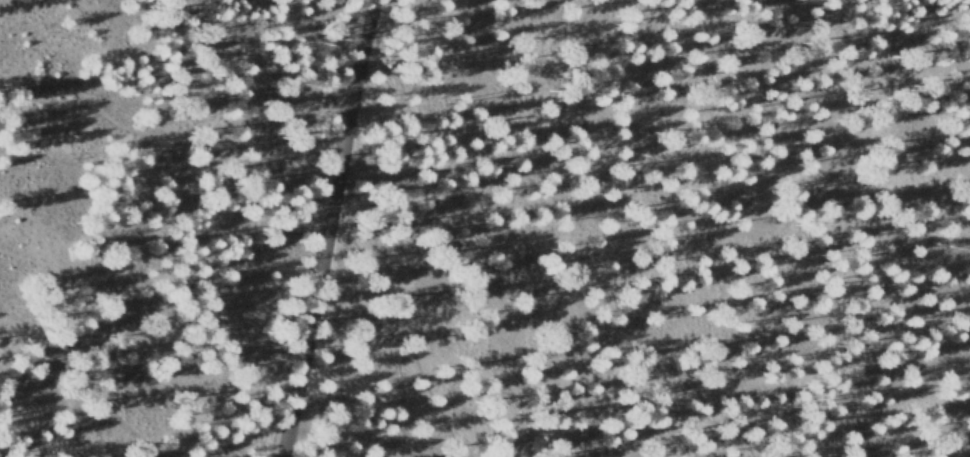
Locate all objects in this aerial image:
road: (261, 58)
road: (323, 227)

